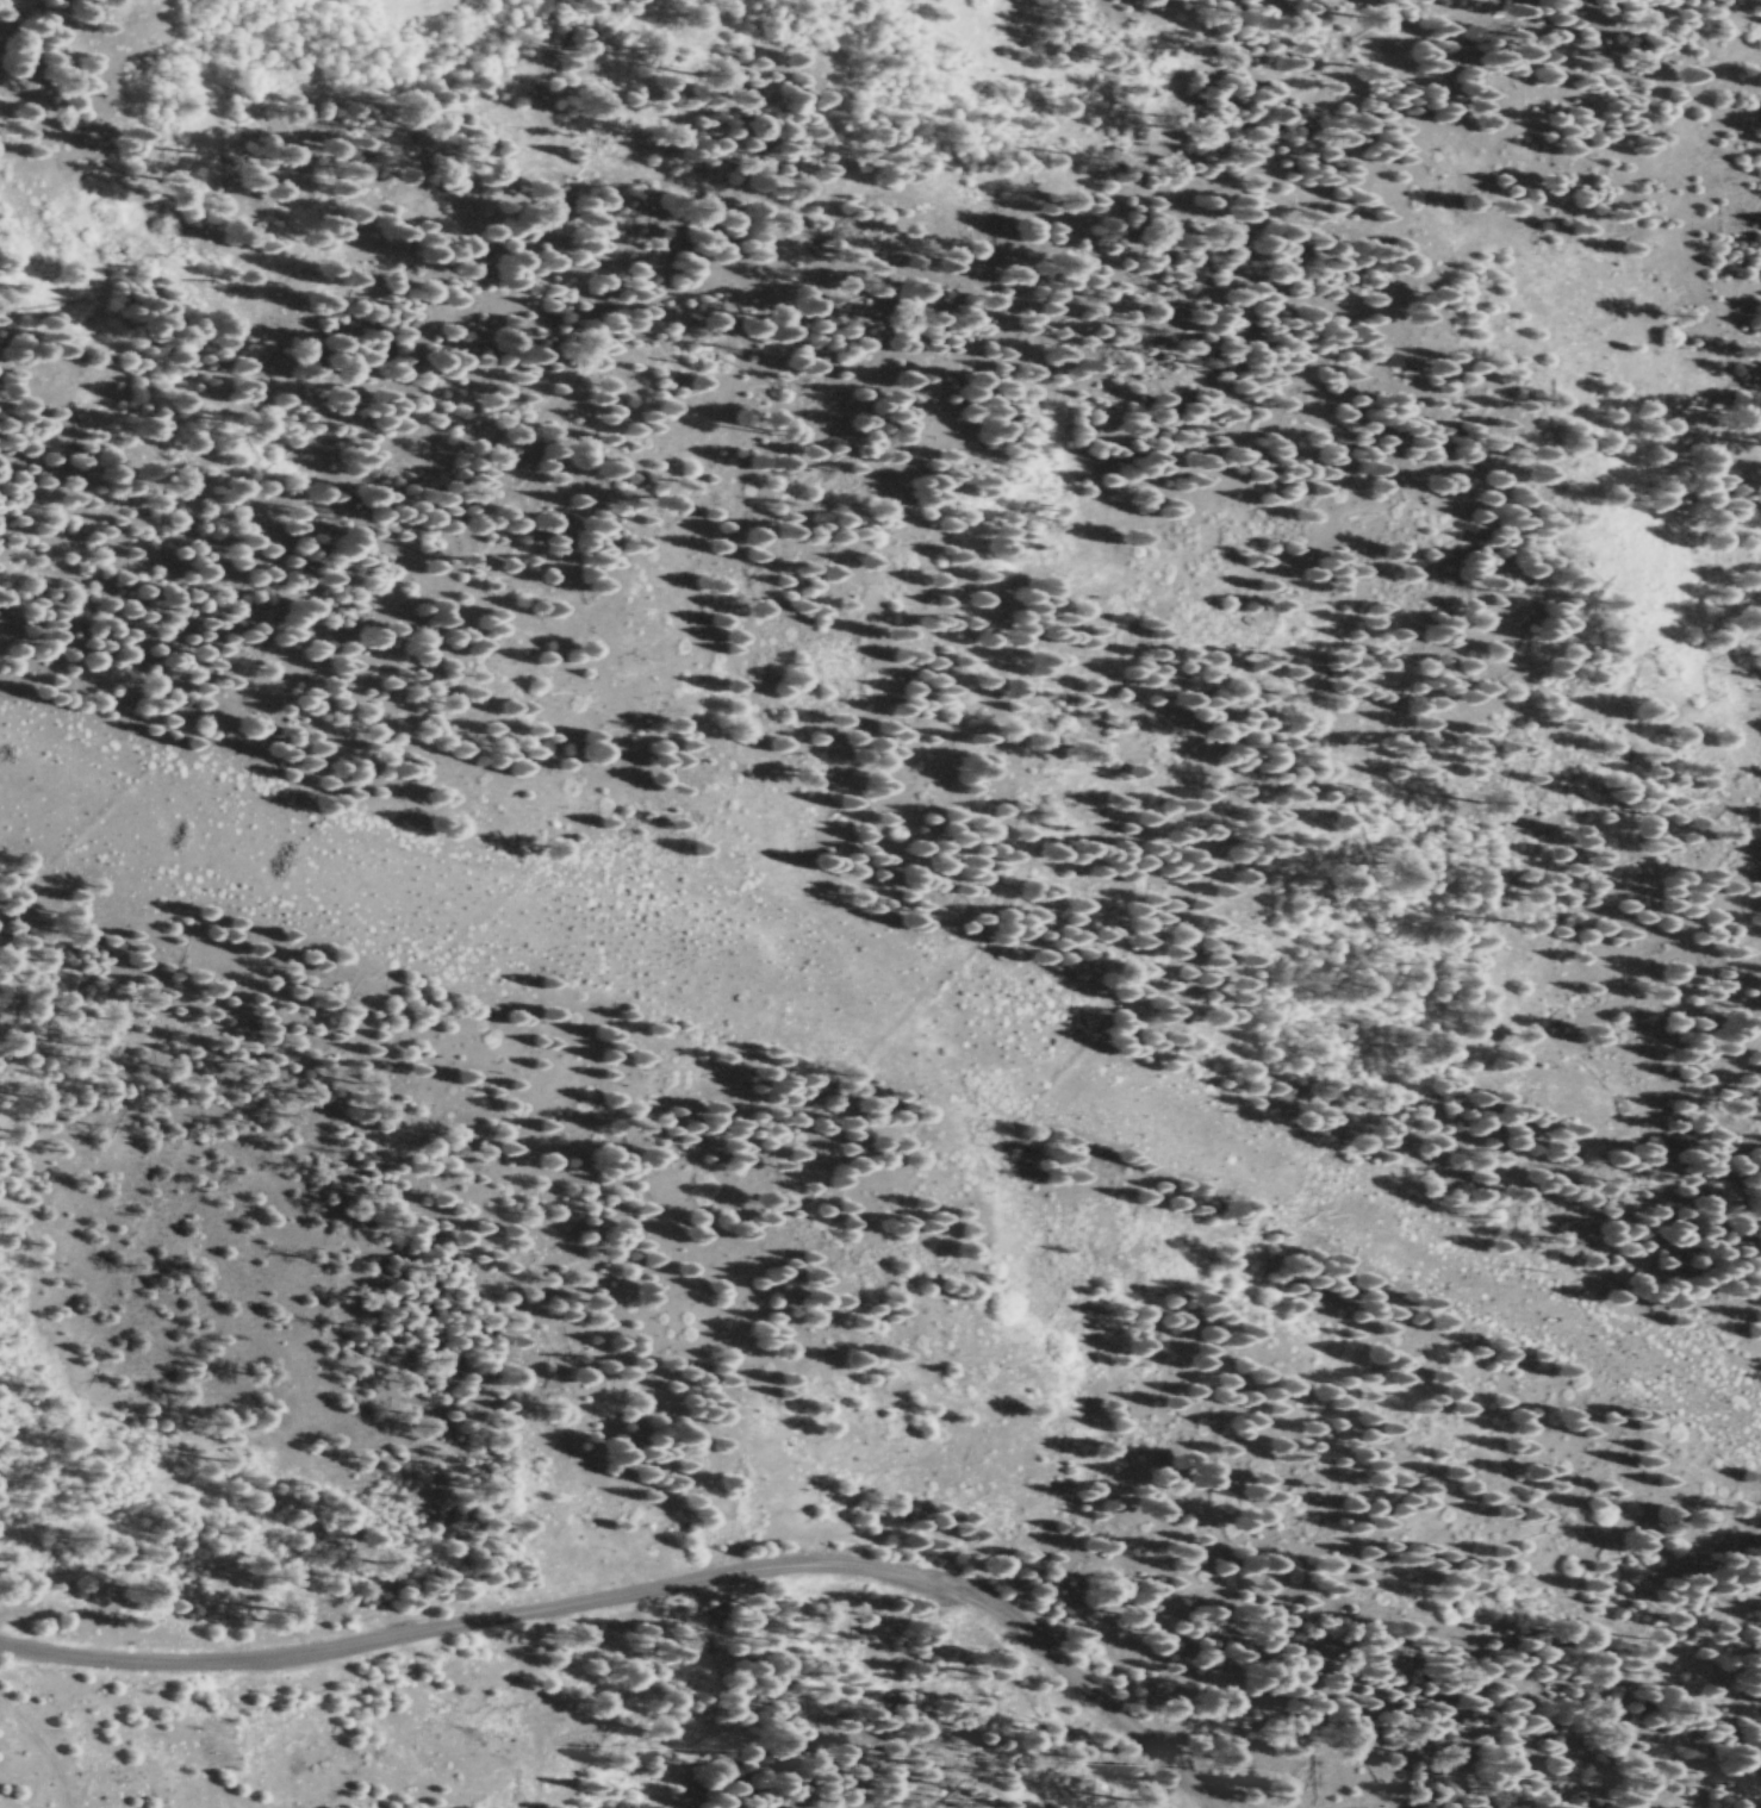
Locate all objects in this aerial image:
road: (646, 1589)
road: (35, 1745)

